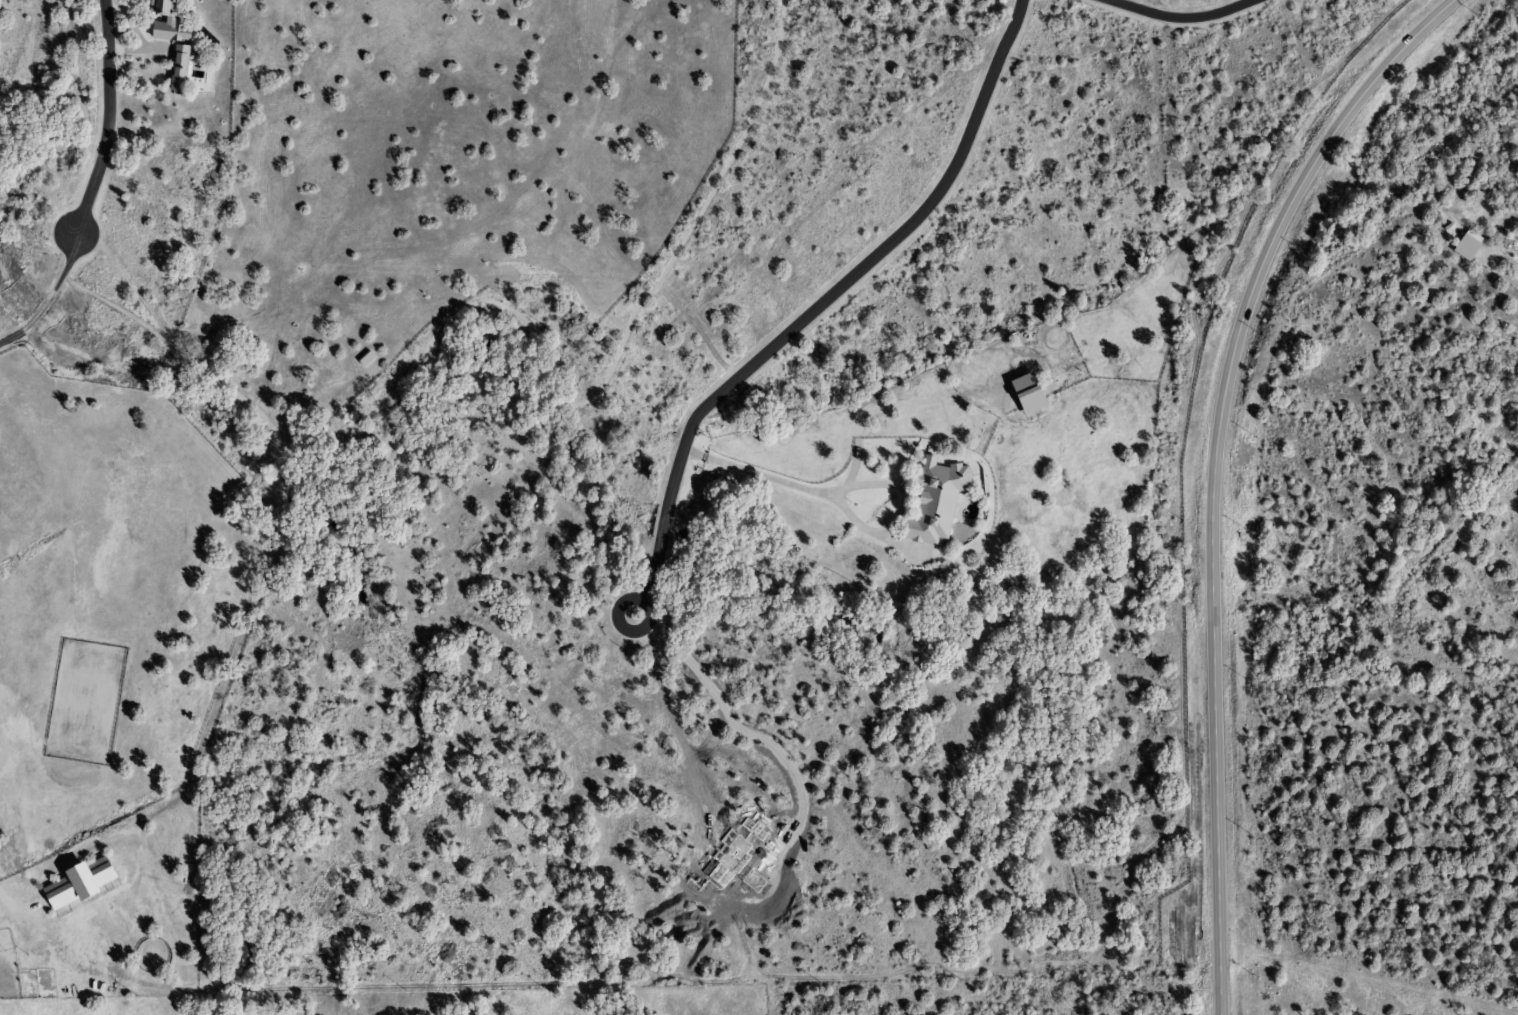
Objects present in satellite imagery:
road: (1182, 18)
road: (92, 185)
road: (818, 306)
building: (1022, 394)
road: (1213, 471)
building: (934, 500)
building: (75, 883)

